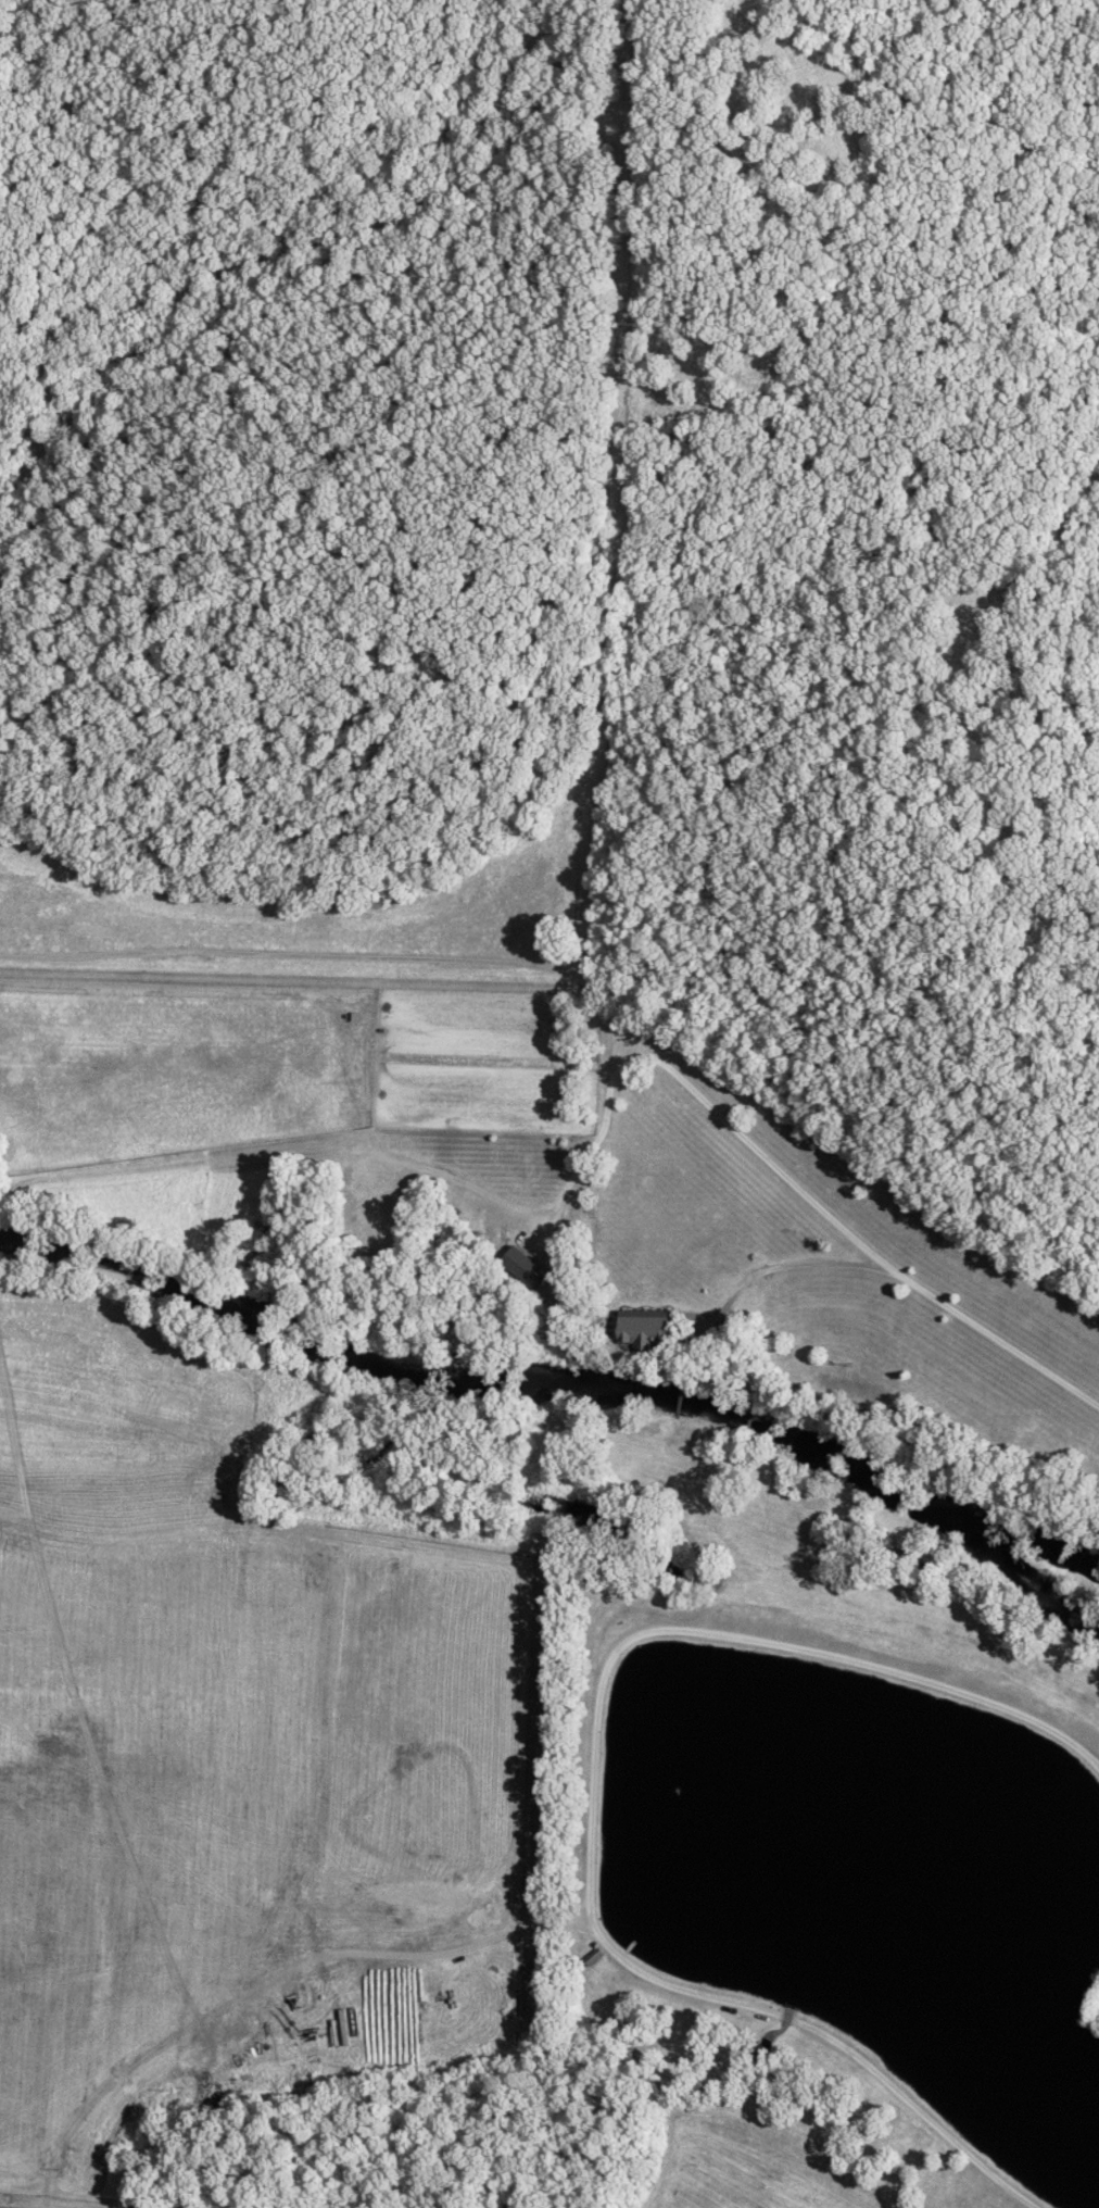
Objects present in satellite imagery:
road: (303, 962)
road: (586, 1164)
road: (829, 1218)
building: (522, 1267)
road: (768, 1270)
building: (644, 1329)

